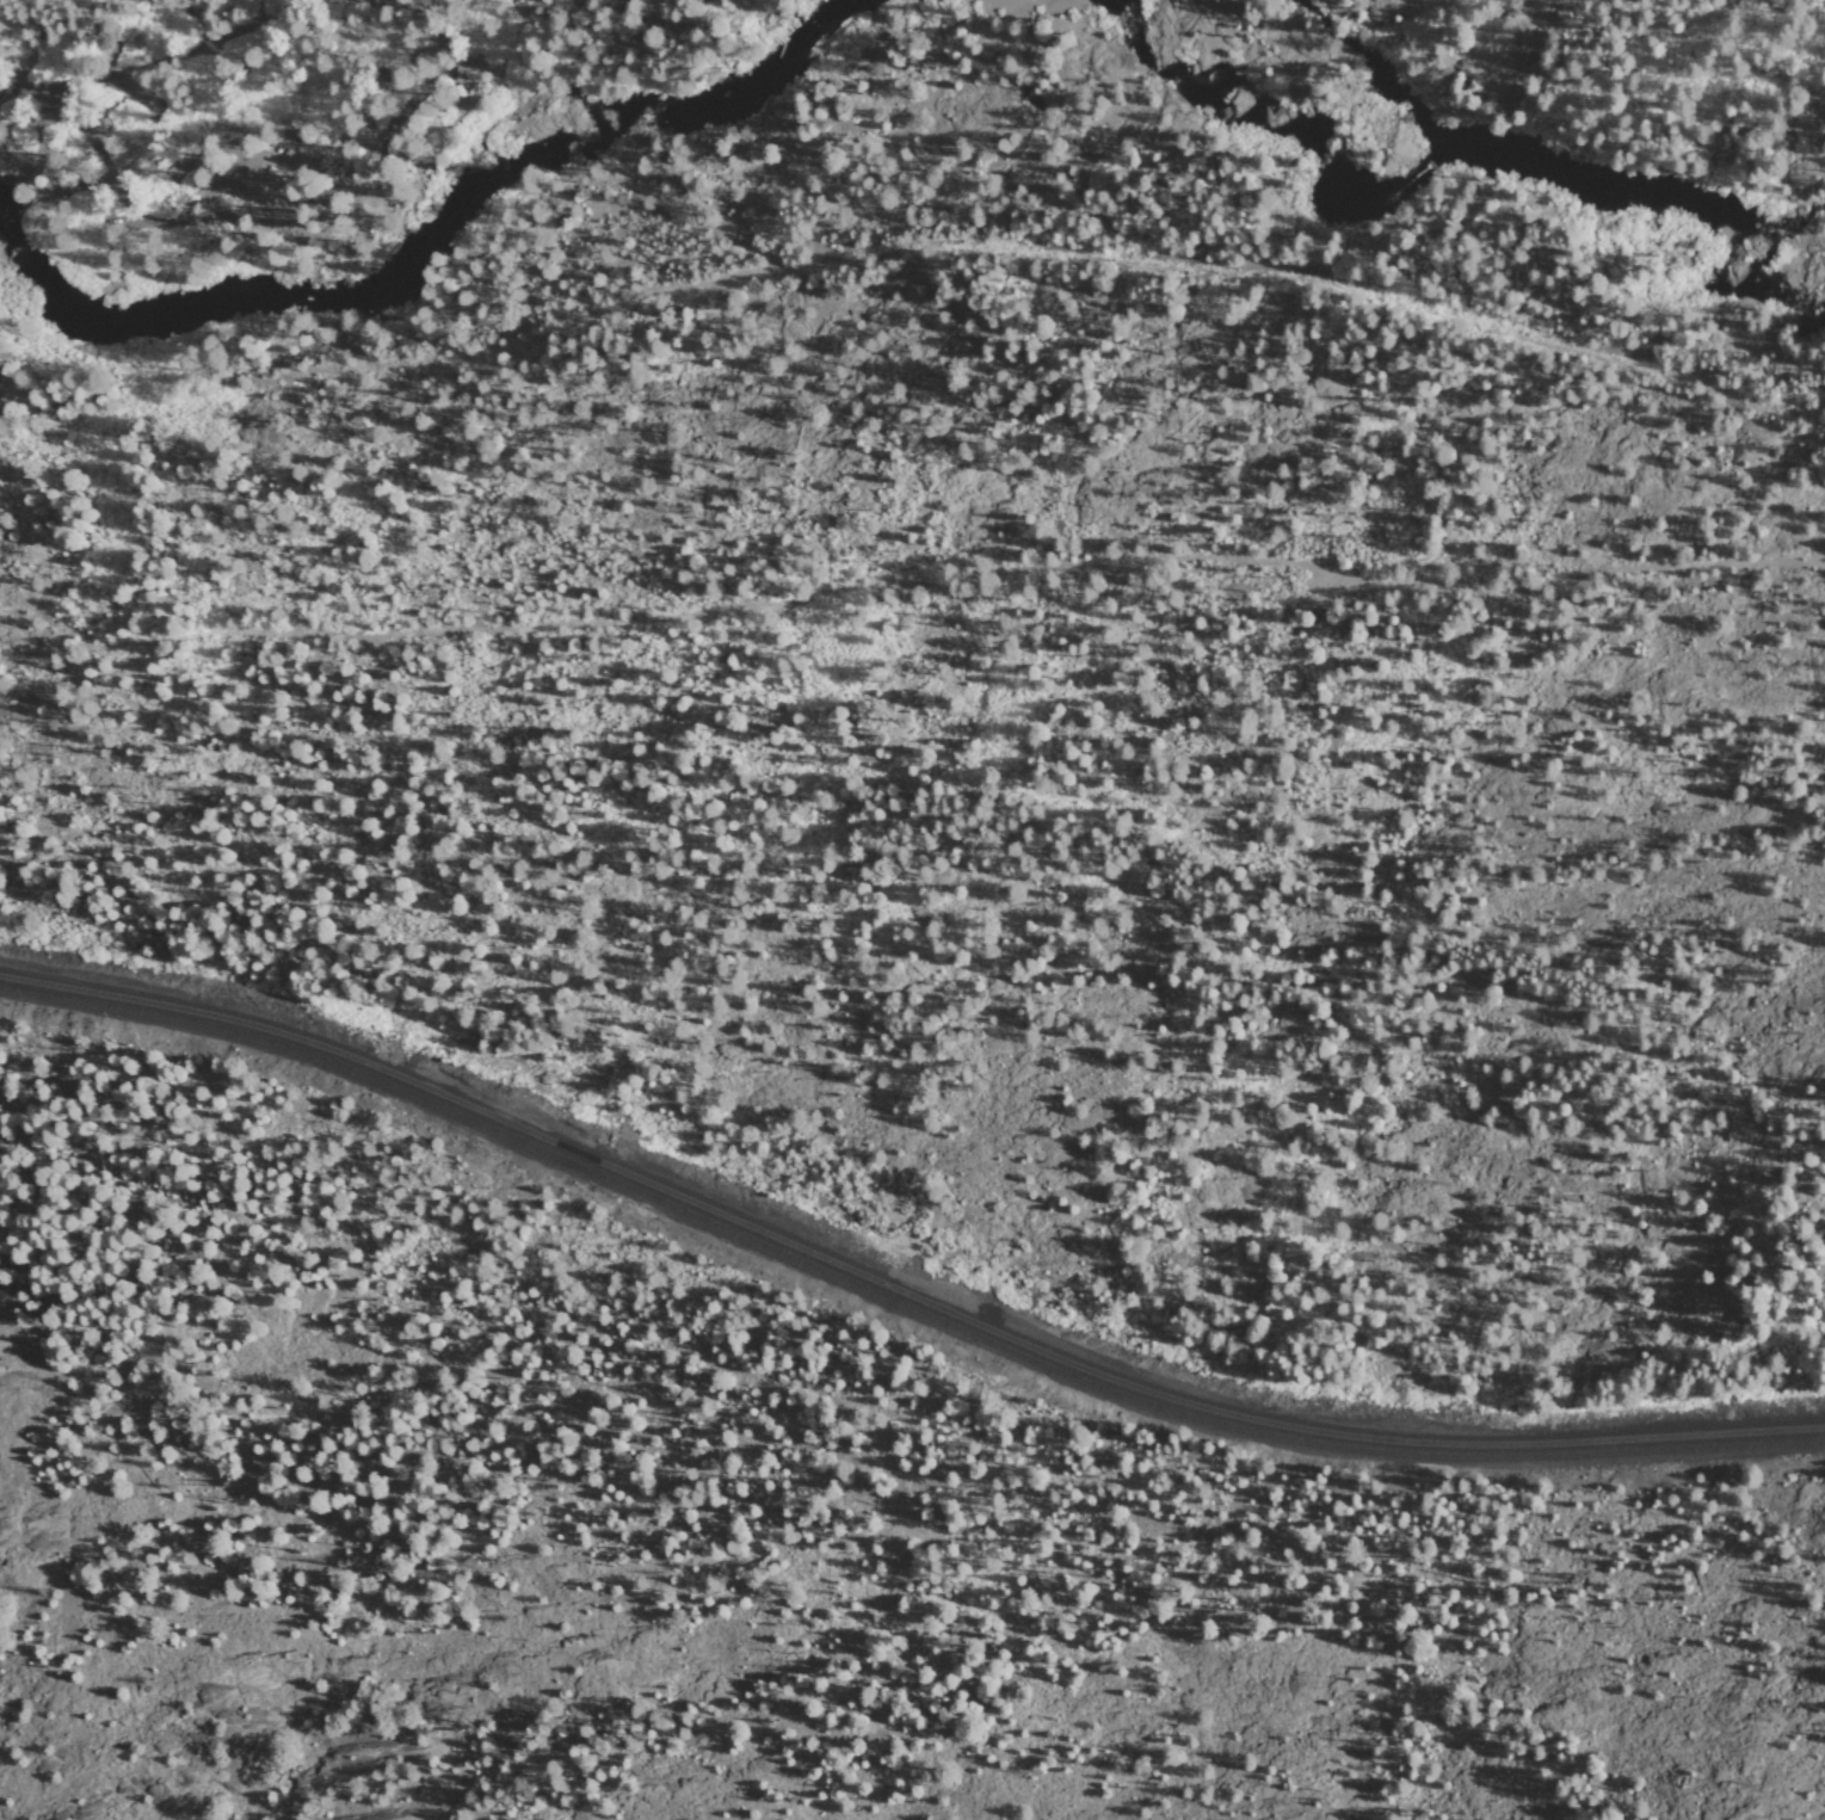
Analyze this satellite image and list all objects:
river: (1090, 51)
road: (26, 94)
river: (723, 121)
road: (146, 217)
road: (912, 243)
river: (1504, 243)
river: (316, 298)
river: (53, 313)
railway: (898, 1290)
railway: (896, 1304)

